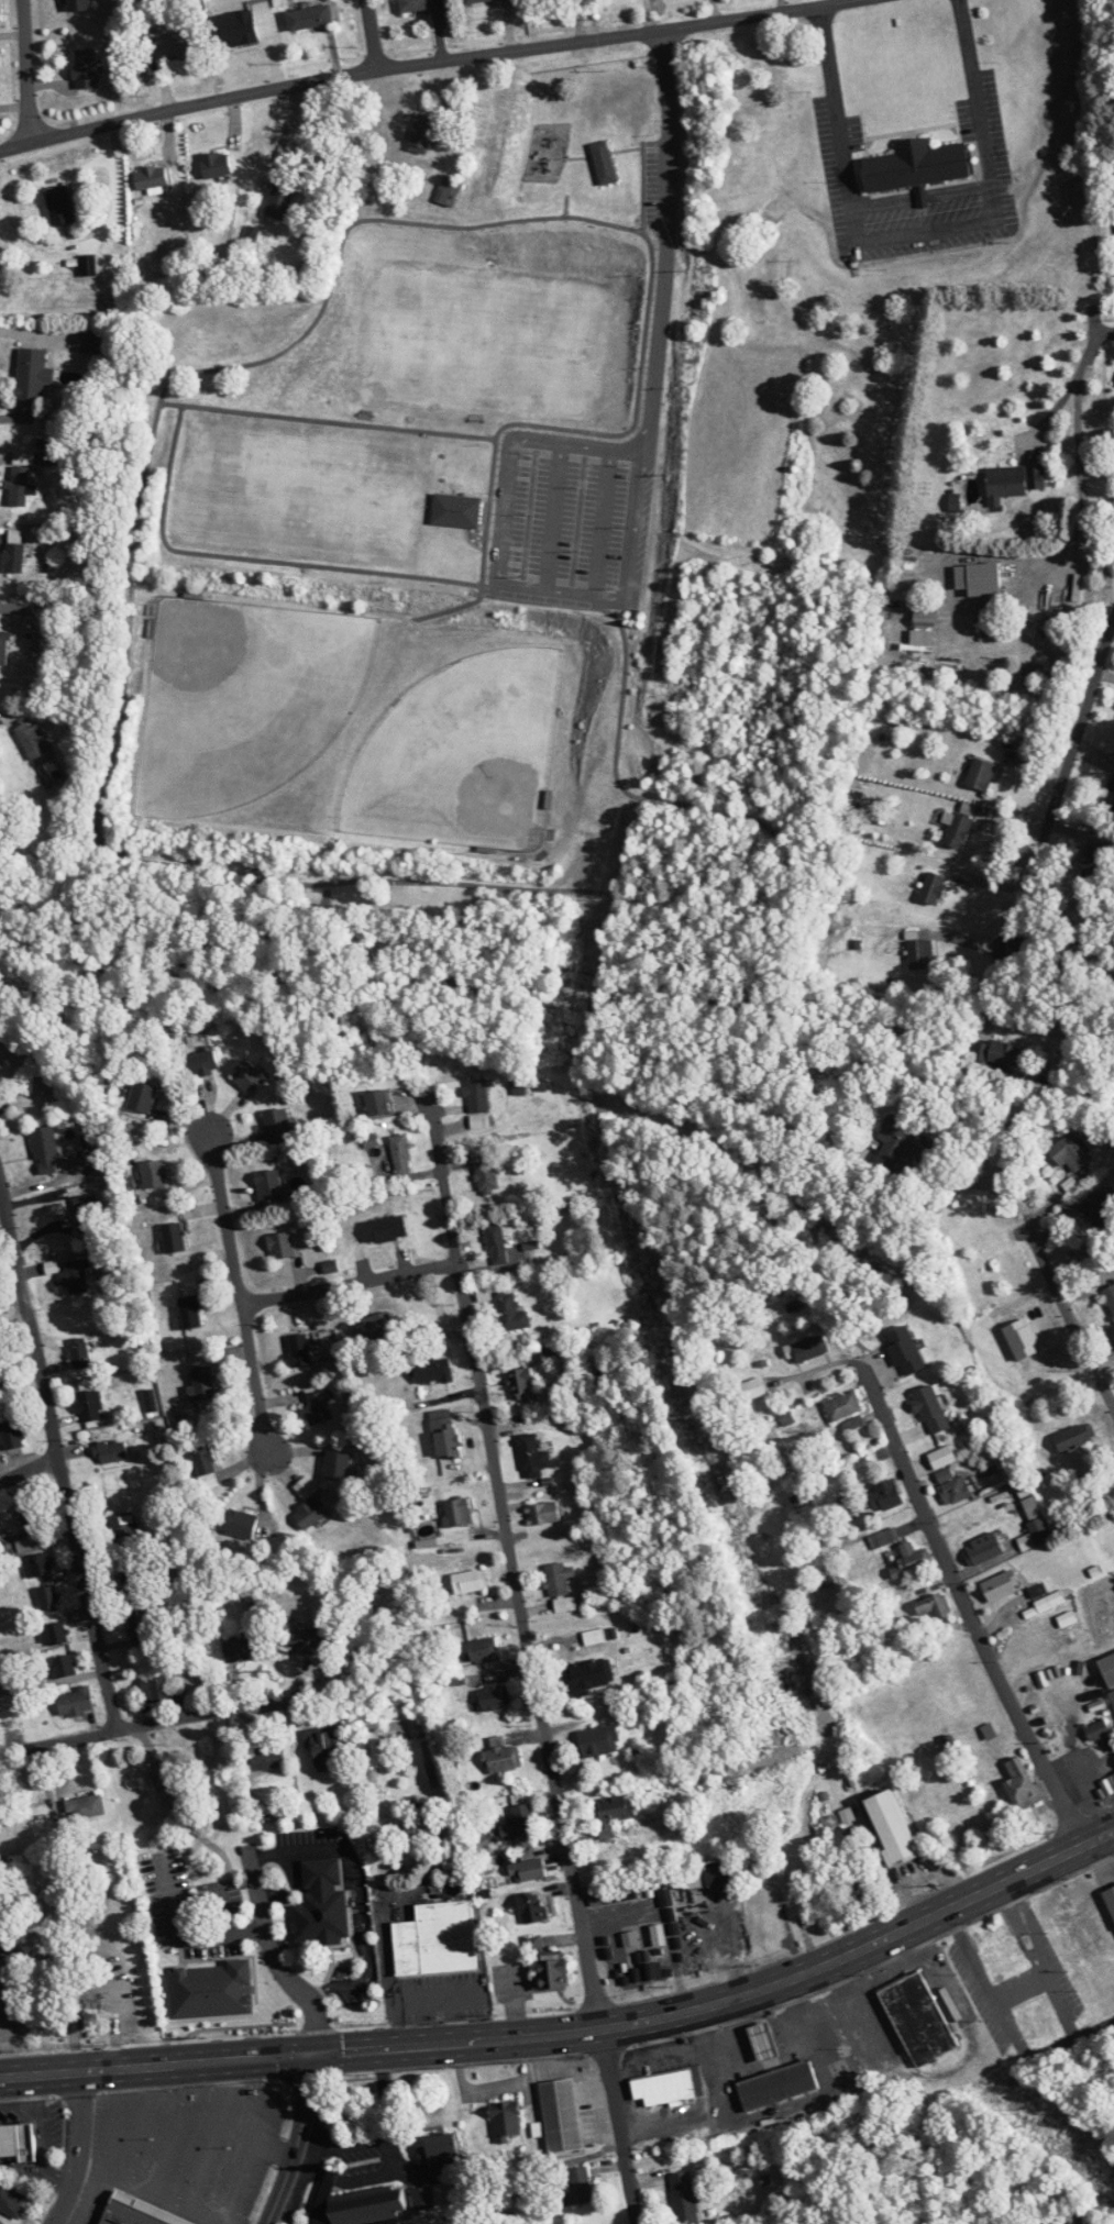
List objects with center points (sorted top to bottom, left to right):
building: (486, 0)
building: (77, 5)
building: (419, 5)
building: (310, 18)
road: (371, 35)
building: (172, 46)
road: (421, 64)
building: (85, 69)
road: (26, 71)
road: (978, 106)
road: (839, 120)
building: (421, 135)
building: (604, 163)
building: (216, 165)
building: (919, 167)
building: (151, 178)
building: (449, 191)
building: (277, 197)
building: (59, 206)
road: (926, 235)
road: (1111, 333)
building: (91, 341)
park: (476, 344)
building: (33, 374)
road: (1071, 381)
building: (20, 478)
building: (1013, 482)
road: (1082, 495)
building: (459, 513)
road: (552, 517)
road: (637, 519)
road: (487, 523)
road: (600, 523)
building: (14, 557)
building: (979, 578)
road: (488, 588)
park: (459, 600)
road: (451, 607)
building: (15, 608)
building: (926, 612)
building: (3, 648)
park: (244, 700)
building: (1, 720)
building: (34, 740)
park: (461, 754)
building: (981, 775)
road: (1061, 788)
building: (958, 830)
road: (133, 862)
building: (934, 887)
building: (919, 953)
road: (994, 986)
building: (997, 1053)
building: (0, 1063)
building: (202, 1063)
building: (249, 1076)
building: (477, 1095)
building: (142, 1096)
building: (378, 1102)
building: (277, 1125)
building: (902, 1142)
building: (92, 1143)
building: (46, 1150)
building: (1070, 1153)
building: (401, 1154)
building: (154, 1174)
building: (487, 1177)
road: (973, 1183)
building: (268, 1185)
road: (3, 1197)
building: (1101, 1208)
building: (87, 1213)
building: (385, 1229)
building: (173, 1237)
building: (496, 1244)
building: (282, 1246)
road: (10, 1265)
building: (75, 1275)
road: (348, 1284)
road: (238, 1293)
building: (1110, 1296)
road: (1069, 1310)
building: (190, 1312)
building: (510, 1312)
building: (377, 1326)
building: (0, 1334)
building: (809, 1348)
building: (300, 1349)
building: (905, 1350)
building: (79, 1352)
building: (433, 1371)
building: (203, 1382)
building: (522, 1382)
building: (5, 1384)
building: (753, 1387)
building: (90, 1406)
building: (319, 1406)
building: (842, 1406)
building: (853, 1424)
building: (927, 1428)
building: (444, 1434)
building: (11, 1435)
building: (1073, 1438)
road: (58, 1448)
building: (112, 1451)
building: (532, 1456)
building: (202, 1458)
road: (29, 1461)
building: (338, 1464)
building: (952, 1486)
building: (305, 1487)
building: (885, 1495)
building: (457, 1512)
building: (311, 1513)
building: (543, 1513)
building: (33, 1516)
building: (242, 1524)
building: (122, 1525)
building: (1039, 1530)
building: (881, 1539)
building: (982, 1550)
building: (912, 1560)
road: (512, 1561)
building: (38, 1564)
road: (948, 1564)
building: (133, 1580)
building: (555, 1580)
building: (470, 1581)
building: (1001, 1585)
building: (48, 1597)
building: (564, 1605)
building: (931, 1608)
building: (141, 1627)
building: (54, 1634)
building: (594, 1637)
building: (308, 1640)
building: (242, 1650)
building: (484, 1650)
building: (63, 1667)
building: (1109, 1670)
building: (587, 1675)
building: (156, 1689)
building: (492, 1697)
building: (76, 1702)
building: (9, 1715)
road: (173, 1724)
building: (1098, 1729)
building: (599, 1740)
building: (1110, 1744)
building: (324, 1748)
building: (504, 1756)
building: (267, 1758)
road: (1081, 1771)
building: (1023, 1785)
building: (85, 1807)
building: (611, 1813)
building: (35, 1823)
building: (517, 1824)
building: (415, 1826)
building: (892, 1827)
road: (296, 1850)
building: (527, 1870)
building: (710, 1873)
building: (1110, 1899)
building: (322, 1903)
building: (532, 1907)
road: (615, 1911)
building: (53, 1918)
road: (187, 1937)
building: (435, 1940)
road: (366, 1941)
building: (533, 1944)
road: (723, 1948)
road: (277, 1958)
building: (1007, 1958)
building: (551, 1973)
building: (178, 1991)
building: (135, 1995)
building: (918, 2020)
road: (575, 2031)
building: (763, 2042)
traffic signals: (311, 2053)
road: (232, 2074)
building: (777, 2087)
building: (664, 2089)
road: (253, 2092)
road: (114, 2106)
building: (561, 2116)
building: (506, 2120)
road: (621, 2125)
road: (176, 2128)
road: (383, 2134)
road: (296, 2139)
building: (18, 2142)
road: (78, 2149)
road: (272, 2149)
building: (440, 2153)
building: (526, 2184)
building: (577, 2187)
road: (152, 2190)
building: (422, 2198)
building: (684, 2198)
building: (11, 2201)
building: (357, 2204)
building: (134, 2213)
building: (1070, 2220)

